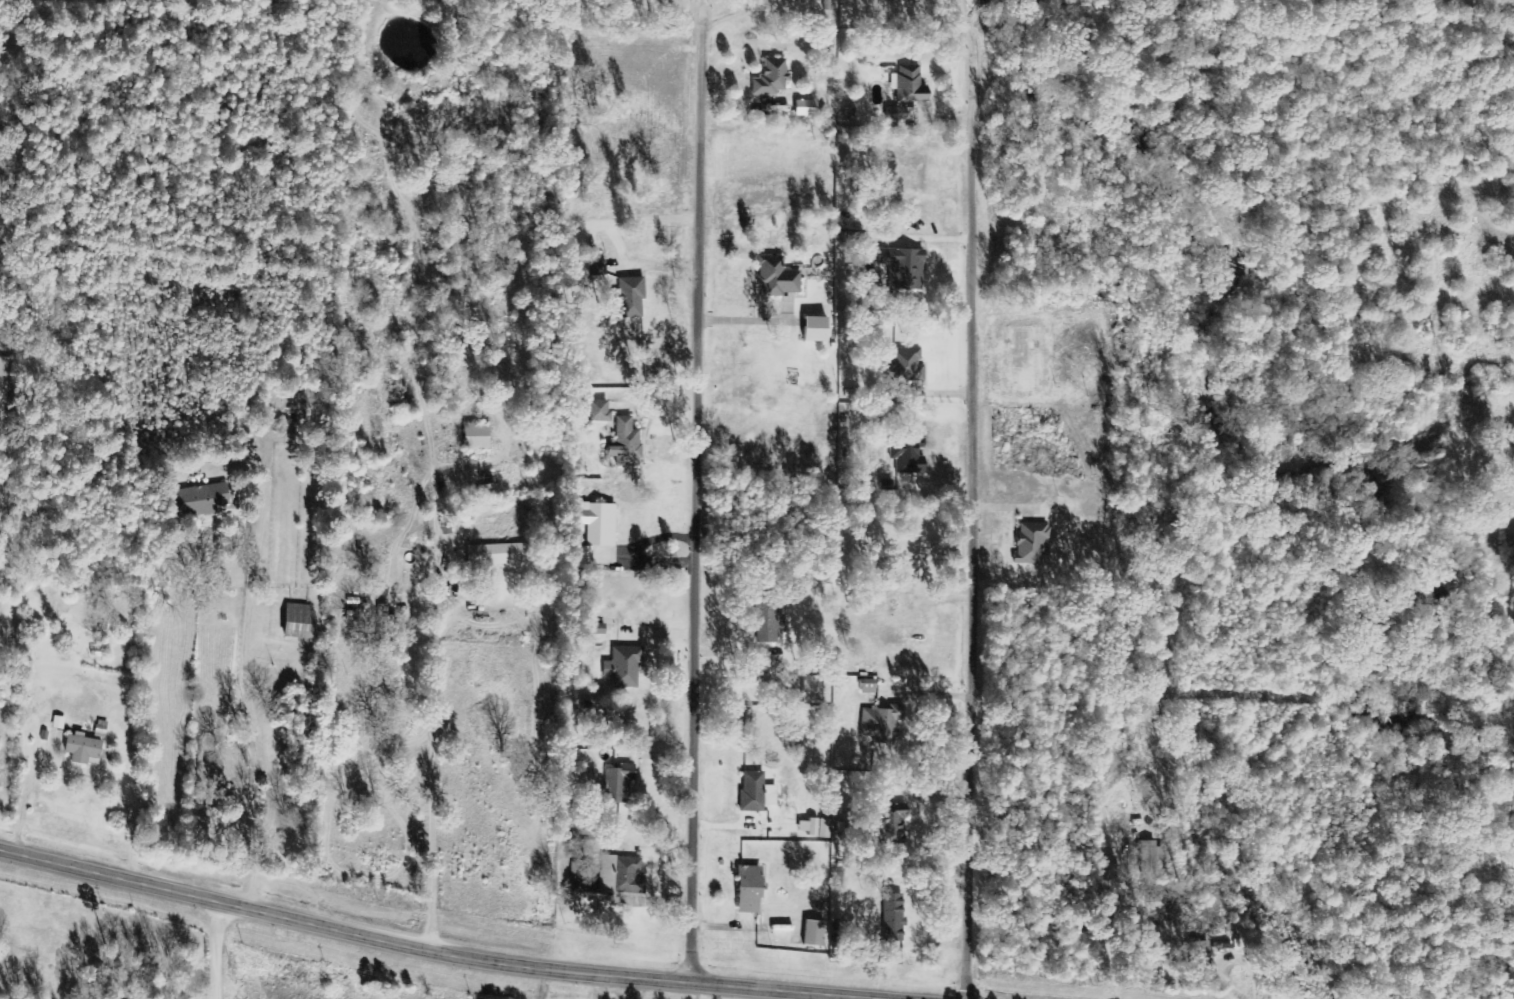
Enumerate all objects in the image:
building: (773, 77)
building: (905, 86)
building: (807, 108)
building: (906, 267)
building: (779, 276)
building: (631, 298)
building: (818, 329)
building: (910, 367)
building: (5, 368)
building: (601, 413)
building: (1, 427)
building: (479, 437)
building: (626, 444)
building: (907, 456)
road: (704, 491)
building: (205, 499)
road: (978, 499)
building: (601, 524)
building: (1034, 542)
building: (501, 555)
building: (386, 614)
building: (766, 620)
building: (303, 622)
building: (625, 666)
building: (869, 686)
building: (815, 689)
road: (492, 709)
road: (192, 715)
building: (883, 721)
road: (392, 742)
building: (85, 749)
building: (621, 783)
building: (0, 786)
building: (758, 792)
building: (816, 827)
building: (896, 828)
building: (1153, 857)
building: (578, 876)
building: (631, 876)
building: (753, 889)
road: (6, 893)
building: (894, 918)
building: (816, 933)
road: (431, 956)
road: (1125, 956)
building: (1198, 956)
road: (387, 972)

